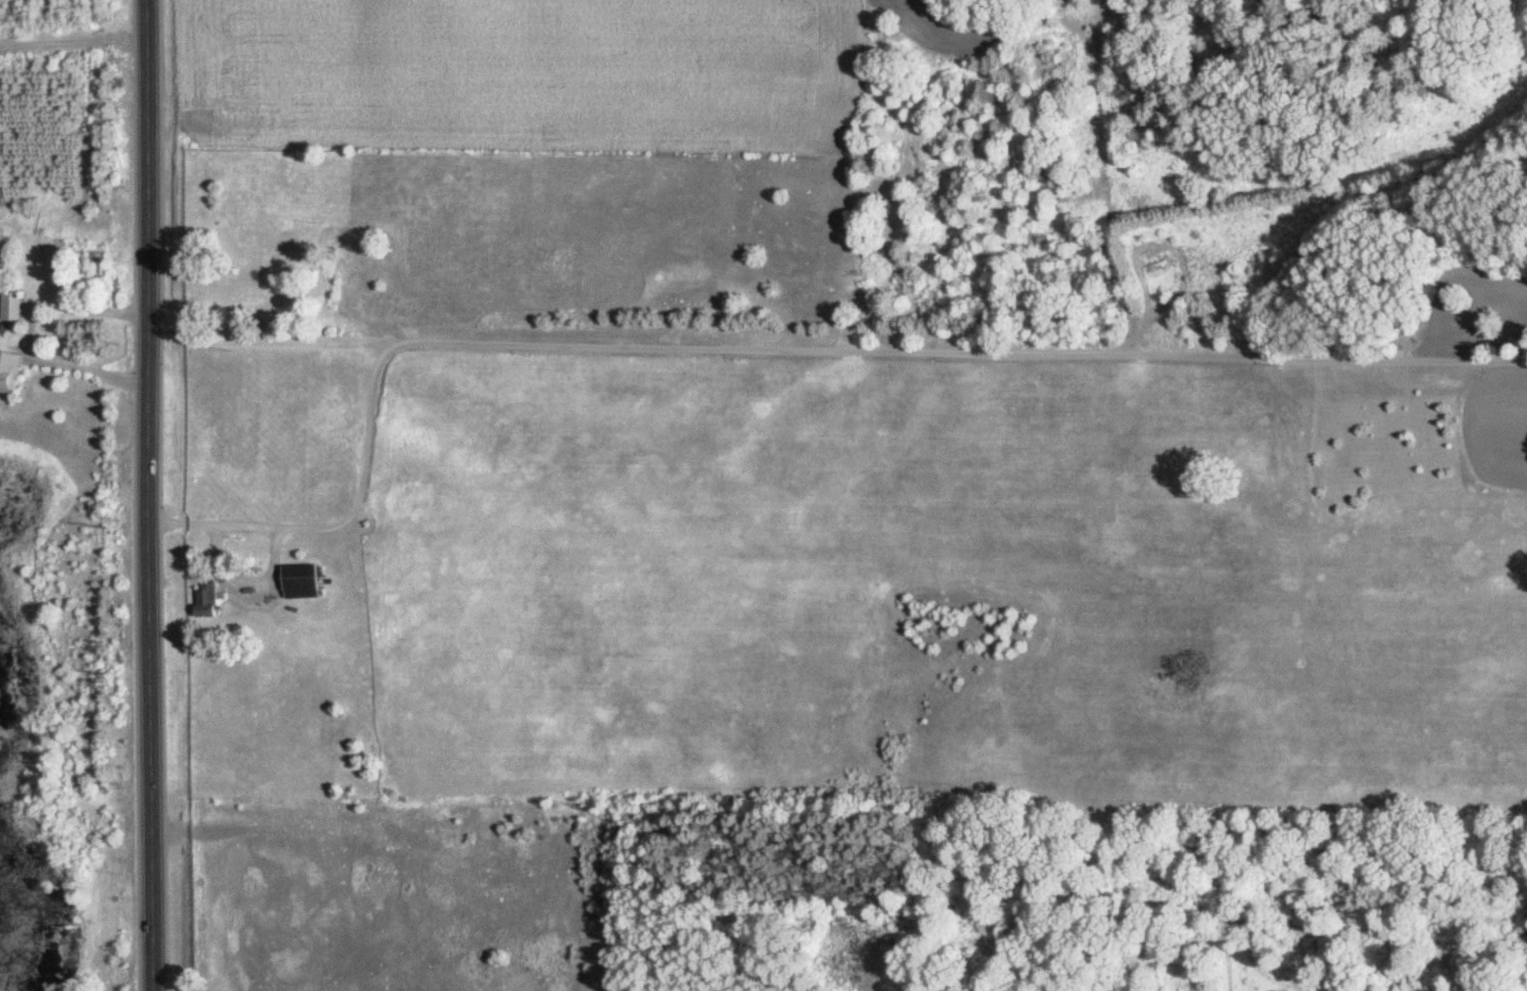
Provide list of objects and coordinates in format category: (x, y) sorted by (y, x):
building: (13, 305)
road: (766, 359)
building: (11, 369)
road: (154, 495)
building: (306, 576)
building: (210, 599)

